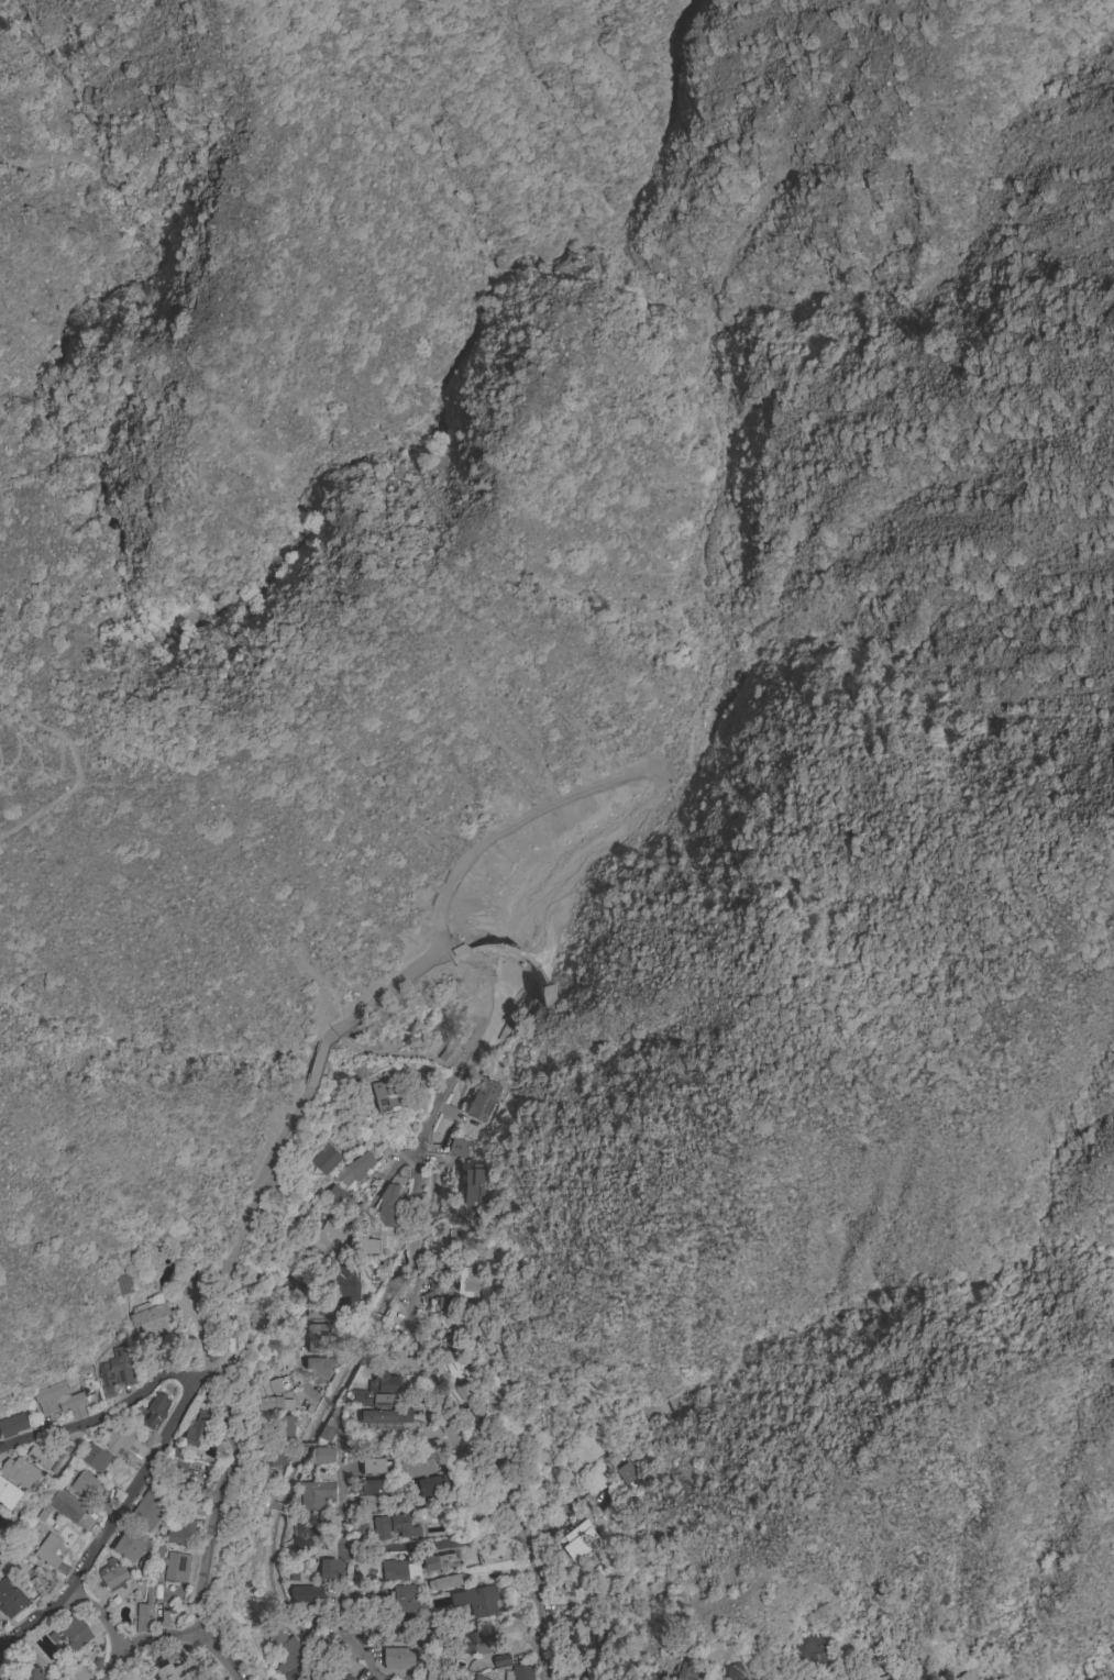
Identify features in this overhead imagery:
road: (41, 765)
road: (68, 766)
dam: (512, 953)
building: (449, 1054)
building: (384, 1096)
building: (482, 1099)
road: (279, 1138)
building: (456, 1147)
building: (326, 1160)
building: (354, 1170)
building: (473, 1185)
building: (337, 1195)
building: (387, 1207)
building: (330, 1229)
building: (317, 1241)
building: (364, 1242)
road: (326, 1268)
building: (468, 1283)
building: (342, 1286)
building: (433, 1305)
building: (445, 1305)
building: (324, 1312)
building: (151, 1323)
building: (252, 1324)
building: (317, 1337)
building: (453, 1366)
building: (318, 1369)
building: (115, 1370)
building: (275, 1386)
building: (379, 1390)
building: (459, 1392)
road: (424, 1393)
building: (59, 1404)
building: (274, 1404)
road: (330, 1404)
building: (155, 1412)
building: (385, 1416)
building: (473, 1417)
road: (97, 1419)
building: (12, 1425)
building: (396, 1427)
building: (284, 1428)
building: (196, 1429)
building: (326, 1434)
building: (117, 1439)
building: (583, 1447)
building: (177, 1452)
building: (320, 1456)
building: (51, 1457)
building: (95, 1458)
building: (275, 1458)
building: (373, 1466)
building: (413, 1467)
building: (19, 1472)
building: (627, 1474)
building: (84, 1484)
building: (375, 1486)
building: (429, 1486)
road: (217, 1490)
building: (196, 1491)
building: (266, 1493)
building: (8, 1495)
building: (315, 1495)
building: (370, 1504)
building: (69, 1510)
building: (147, 1511)
road: (108, 1524)
building: (355, 1525)
building: (393, 1527)
building: (180, 1534)
building: (305, 1534)
building: (575, 1539)
road: (433, 1544)
building: (130, 1545)
building: (157, 1551)
building: (49, 1554)
road: (341, 1554)
building: (492, 1554)
building: (440, 1562)
building: (176, 1568)
building: (327, 1570)
building: (400, 1570)
building: (112, 1574)
building: (445, 1582)
building: (306, 1593)
building: (375, 1593)
building: (10, 1599)
building: (406, 1600)
building: (476, 1601)
building: (144, 1612)
road: (99, 1614)
building: (405, 1621)
building: (74, 1631)
road: (154, 1635)
building: (393, 1639)
building: (603, 1640)
building: (421, 1643)
building: (475, 1643)
building: (284, 1648)
building: (812, 1649)
road: (573, 1651)
road: (217, 1656)
building: (399, 1658)
building: (500, 1660)
road: (110, 1665)
building: (350, 1667)
building: (685, 1671)
building: (736, 1671)
building: (174, 1672)
building: (565, 1672)
building: (519, 1673)
building: (31, 1675)
building: (429, 1675)
building: (291, 1676)
building: (963, 1677)
building: (346, 1678)
building: (481, 1678)
building: (847, 1678)
building: (853, 1678)
building: (883, 1678)
building: (313, 1679)
building: (320, 1679)

